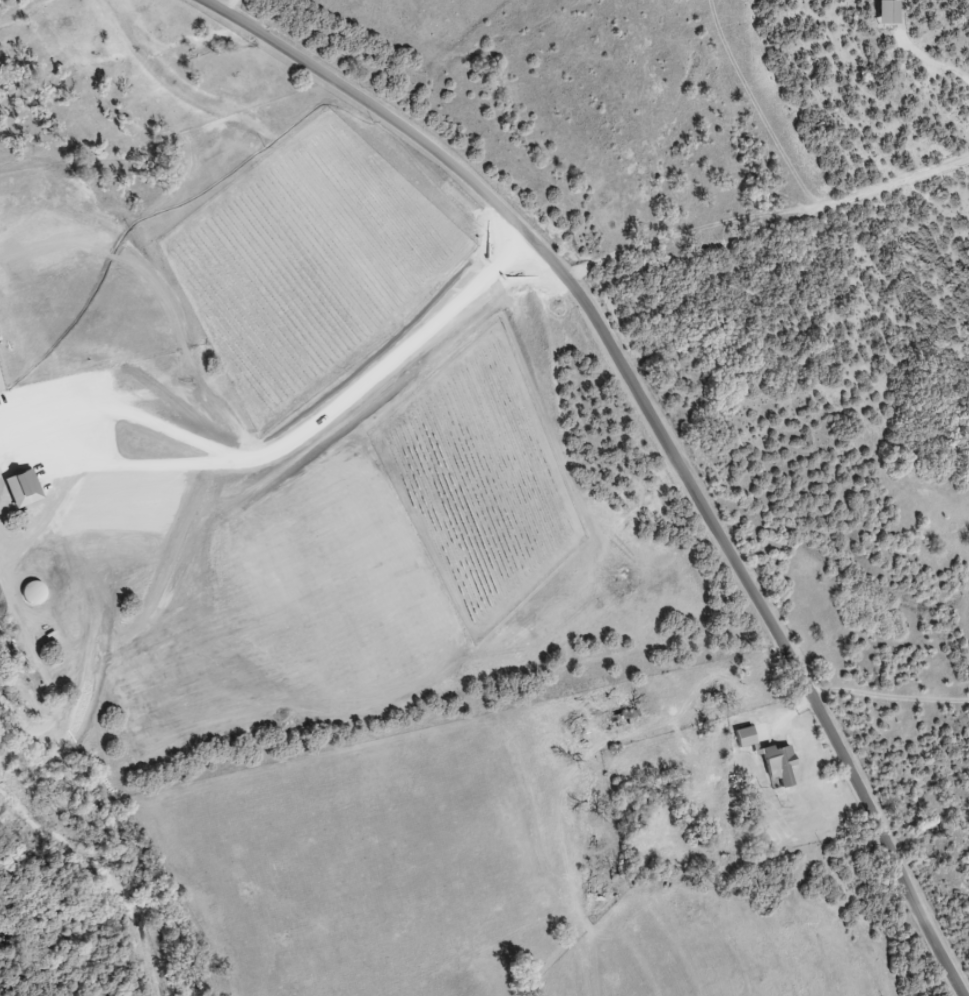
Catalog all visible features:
building: (890, 14)
parking lot: (24, 408)
road: (660, 431)
road: (281, 436)
parking lot: (0, 471)
building: (26, 488)
road: (5, 510)
road: (0, 578)
building: (748, 737)
building: (782, 764)

